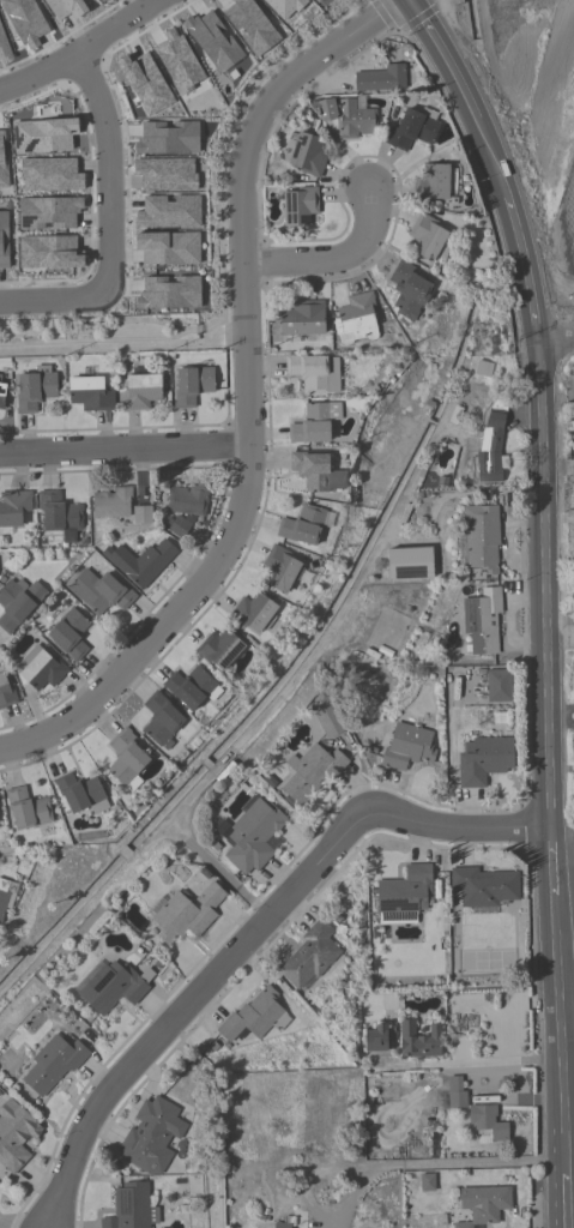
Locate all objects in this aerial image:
building: (101, 0)
building: (316, 0)
building: (284, 6)
building: (65, 7)
building: (24, 20)
building: (250, 24)
building: (212, 40)
road: (80, 46)
building: (4, 48)
road: (442, 56)
building: (180, 62)
building: (381, 79)
building: (145, 82)
crop: (532, 110)
building: (346, 116)
building: (412, 128)
building: (44, 133)
building: (167, 137)
building: (307, 155)
road: (491, 157)
building: (2, 161)
building: (49, 173)
building: (165, 173)
building: (434, 182)
building: (300, 206)
building: (48, 211)
building: (169, 211)
road: (107, 219)
building: (428, 239)
building: (4, 242)
building: (168, 246)
building: (48, 251)
road: (333, 259)
road: (526, 269)
building: (409, 290)
building: (169, 291)
building: (303, 319)
building: (356, 319)
road: (556, 339)
building: (314, 373)
building: (0, 377)
building: (192, 385)
building: (35, 389)
building: (141, 390)
building: (89, 393)
building: (1, 395)
road: (247, 399)
building: (314, 423)
building: (491, 444)
road: (125, 452)
building: (316, 472)
building: (110, 502)
building: (185, 508)
building: (12, 510)
building: (59, 514)
building: (141, 514)
building: (302, 525)
building: (479, 541)
building: (460, 549)
building: (140, 562)
building: (409, 562)
building: (280, 568)
road: (546, 586)
building: (99, 592)
building: (17, 603)
building: (253, 613)
building: (482, 621)
building: (70, 634)
building: (219, 649)
building: (41, 669)
building: (497, 685)
building: (192, 688)
building: (6, 693)
building: (327, 717)
building: (161, 721)
building: (407, 747)
building: (126, 760)
building: (483, 760)
building: (310, 772)
building: (80, 794)
building: (26, 809)
road: (563, 832)
building: (252, 836)
road: (554, 862)
building: (483, 887)
building: (404, 896)
building: (2, 897)
building: (186, 914)
road: (248, 937)
building: (310, 956)
building: (114, 987)
road: (560, 989)
building: (255, 1017)
building: (379, 1039)
building: (418, 1041)
road: (469, 1061)
building: (53, 1064)
building: (455, 1094)
road: (525, 1096)
road: (566, 1109)
building: (487, 1125)
building: (14, 1136)
building: (151, 1137)
road: (566, 1154)
road: (379, 1167)
building: (427, 1182)
road: (568, 1202)
building: (483, 1204)
building: (129, 1206)
building: (280, 1226)

